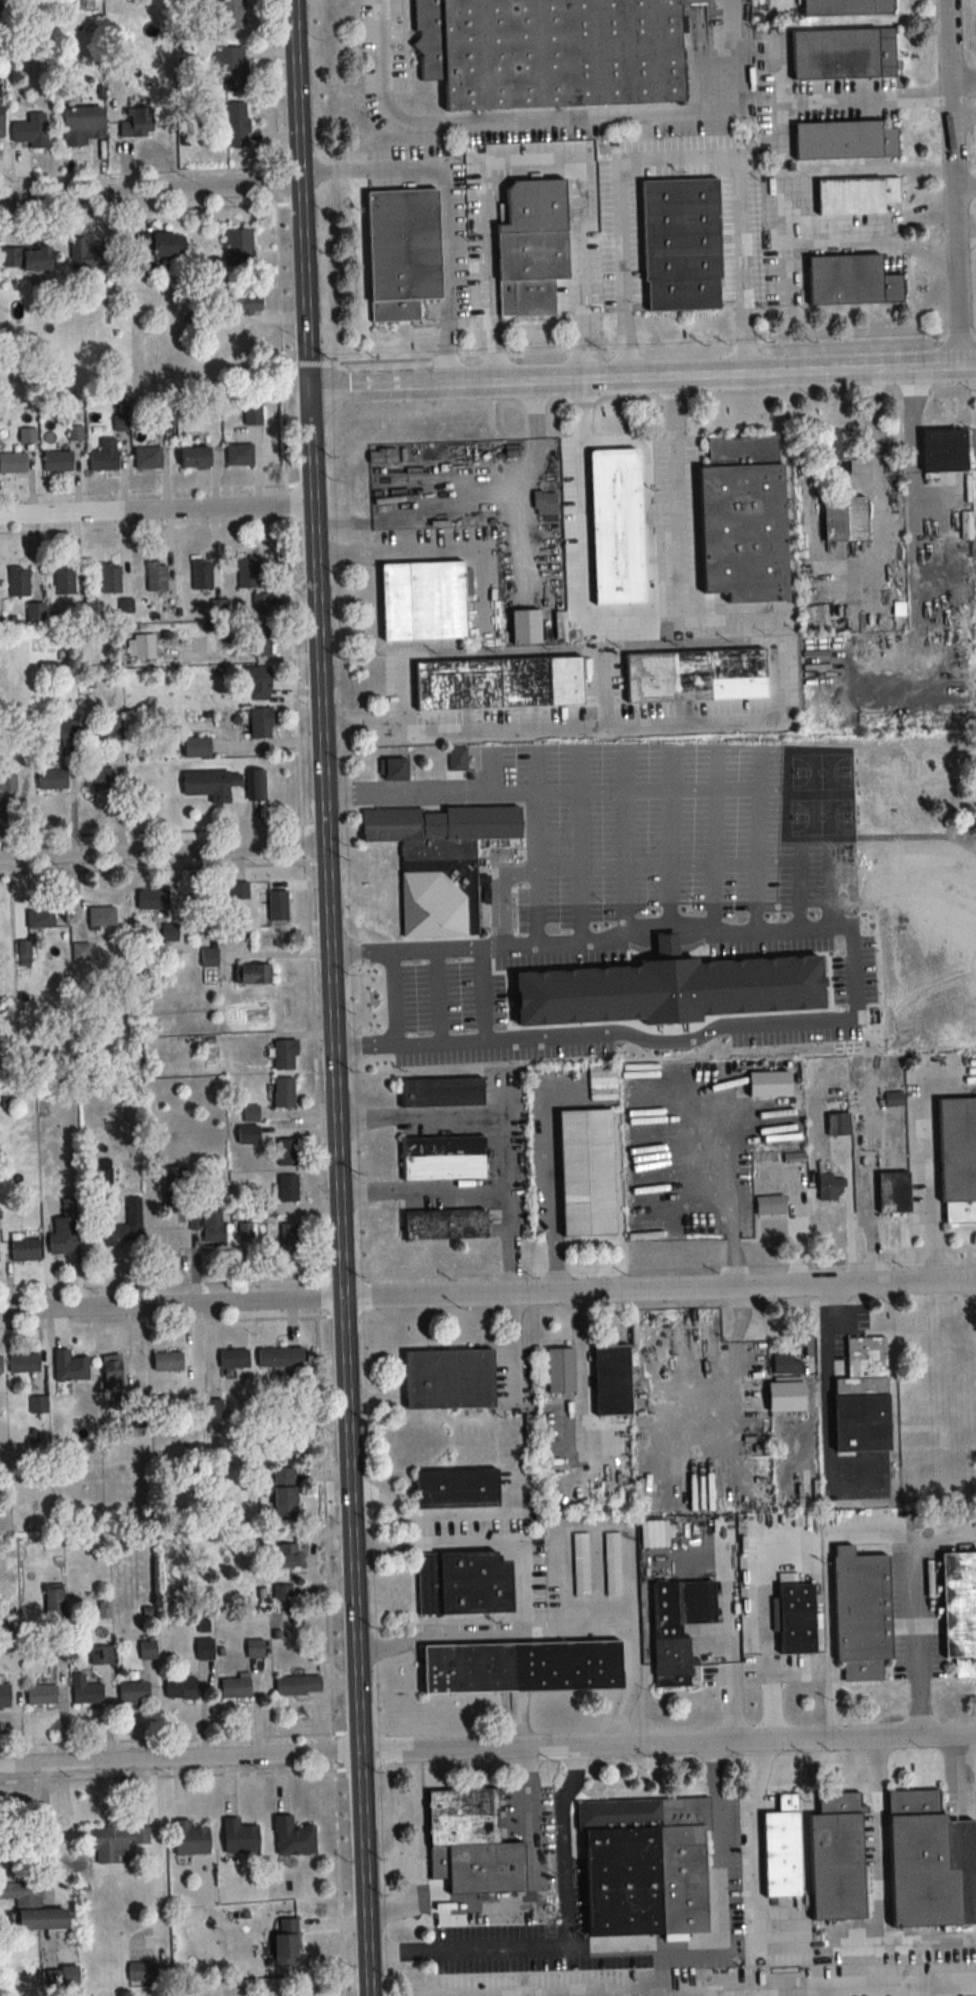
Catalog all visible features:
building: (846, 7)
building: (232, 14)
building: (551, 52)
building: (843, 53)
building: (230, 67)
road: (962, 77)
road: (861, 99)
road: (554, 114)
road: (963, 114)
building: (1, 121)
building: (137, 121)
building: (83, 125)
building: (234, 125)
building: (31, 131)
building: (845, 140)
road: (678, 154)
road: (531, 160)
road: (952, 183)
road: (149, 190)
road: (964, 192)
building: (856, 195)
road: (442, 206)
road: (786, 207)
road: (965, 221)
road: (839, 229)
building: (162, 243)
building: (681, 244)
building: (238, 247)
building: (532, 247)
building: (402, 252)
building: (90, 254)
building: (26, 258)
building: (851, 280)
building: (245, 305)
road: (642, 381)
building: (252, 415)
building: (944, 450)
building: (238, 454)
building: (104, 455)
building: (382, 455)
building: (147, 457)
building: (195, 457)
building: (58, 461)
building: (12, 463)
road: (880, 469)
building: (841, 494)
road: (677, 498)
road: (582, 502)
building: (545, 503)
road: (156, 511)
building: (743, 519)
building: (617, 526)
road: (436, 550)
building: (247, 573)
building: (201, 575)
building: (110, 578)
building: (156, 579)
building: (64, 580)
building: (19, 582)
building: (423, 601)
building: (260, 603)
building: (35, 612)
building: (525, 627)
building: (259, 642)
building: (142, 647)
building: (695, 675)
building: (256, 683)
building: (498, 683)
building: (108, 696)
road: (689, 716)
building: (260, 723)
building: (114, 728)
building: (197, 747)
building: (457, 760)
building: (393, 771)
building: (99, 778)
building: (52, 780)
building: (8, 782)
building: (211, 784)
building: (256, 785)
road: (506, 788)
road: (645, 788)
road: (163, 855)
building: (439, 861)
building: (239, 891)
building: (153, 900)
building: (277, 906)
building: (102, 916)
building: (40, 919)
road: (643, 929)
building: (169, 933)
road: (427, 946)
building: (81, 951)
building: (23, 953)
building: (209, 958)
building: (252, 974)
building: (479, 995)
road: (332, 997)
road: (304, 998)
road: (745, 1026)
building: (283, 1055)
building: (602, 1083)
building: (283, 1092)
building: (441, 1093)
building: (251, 1113)
road: (507, 1118)
building: (838, 1124)
building: (286, 1152)
building: (795, 1157)
building: (443, 1158)
building: (957, 1159)
road: (926, 1171)
building: (586, 1173)
road: (551, 1185)
road: (425, 1187)
building: (830, 1187)
building: (288, 1189)
road: (717, 1189)
building: (175, 1190)
building: (893, 1193)
building: (771, 1206)
building: (445, 1225)
building: (126, 1227)
building: (209, 1227)
building: (66, 1229)
road: (867, 1229)
building: (245, 1230)
building: (290, 1237)
building: (25, 1251)
road: (660, 1289)
road: (171, 1305)
road: (825, 1328)
building: (280, 1358)
building: (234, 1359)
building: (167, 1362)
building: (23, 1363)
building: (1, 1365)
building: (787, 1365)
building: (70, 1366)
building: (560, 1371)
building: (113, 1373)
building: (449, 1379)
building: (612, 1381)
building: (863, 1399)
building: (38, 1404)
building: (213, 1409)
building: (135, 1419)
road: (827, 1445)
building: (455, 1488)
building: (284, 1493)
road: (430, 1512)
road: (597, 1525)
building: (289, 1555)
building: (580, 1564)
building: (612, 1564)
building: (463, 1582)
building: (282, 1592)
building: (53, 1602)
building: (103, 1611)
building: (960, 1611)
building: (861, 1612)
road: (524, 1617)
building: (796, 1617)
building: (678, 1627)
building: (4, 1630)
road: (439, 1634)
road: (918, 1635)
road: (766, 1645)
building: (205, 1648)
building: (255, 1648)
building: (147, 1649)
building: (101, 1654)
building: (522, 1666)
building: (298, 1685)
building: (235, 1687)
building: (180, 1688)
building: (133, 1691)
building: (87, 1693)
building: (41, 1695)
building: (4, 1696)
road: (668, 1746)
road: (180, 1761)
road: (959, 1768)
road: (46, 1824)
building: (240, 1837)
building: (293, 1837)
building: (190, 1838)
road: (750, 1841)
building: (116, 1842)
building: (471, 1843)
road: (562, 1845)
building: (817, 1854)
road: (878, 1862)
building: (921, 1862)
building: (646, 1867)
building: (21, 1892)
building: (42, 1918)
road: (928, 1933)
building: (285, 1943)
road: (644, 1945)
building: (141, 1971)
road: (710, 1989)
road: (908, 1990)
road: (718, 1992)
road: (524, 1995)

